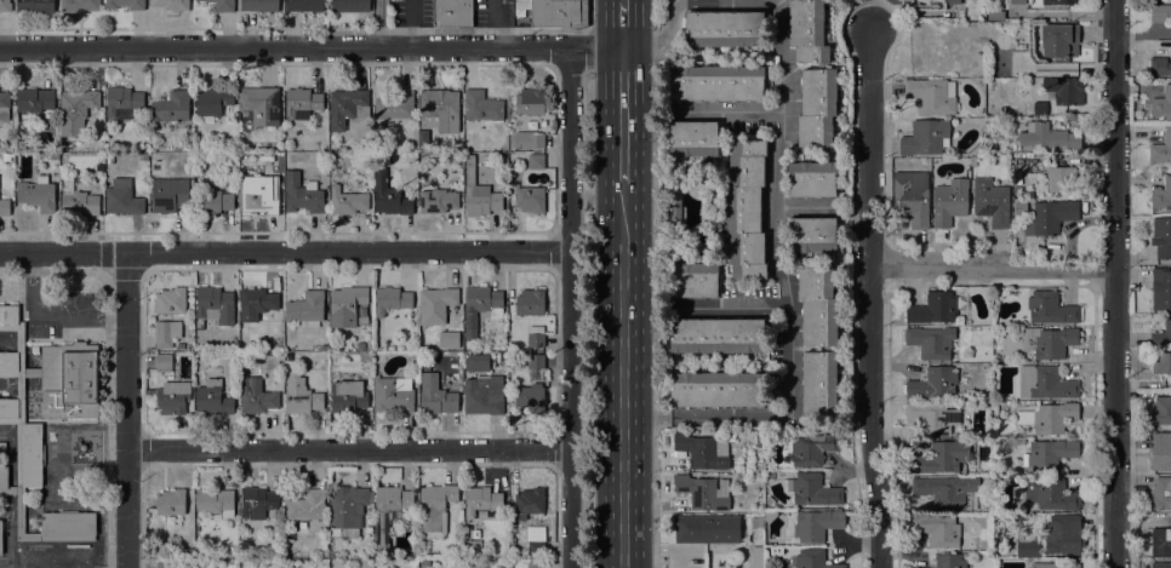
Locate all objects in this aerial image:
road: (622, 1)
building: (952, 1)
building: (1017, 1)
building: (1057, 1)
building: (125, 4)
building: (78, 5)
building: (172, 5)
building: (221, 5)
building: (259, 5)
building: (304, 5)
building: (350, 5)
building: (5, 6)
building: (35, 6)
building: (452, 12)
road: (919, 12)
building: (559, 13)
building: (1160, 13)
road: (872, 15)
building: (996, 16)
road: (378, 23)
road: (623, 25)
building: (895, 25)
road: (585, 27)
building: (724, 28)
building: (969, 29)
building: (807, 30)
building: (1059, 39)
building: (873, 46)
road: (312, 47)
building: (1160, 65)
building: (716, 82)
building: (1064, 91)
building: (932, 96)
building: (34, 99)
building: (530, 101)
building: (121, 102)
building: (212, 103)
building: (302, 103)
building: (1161, 103)
building: (261, 104)
building: (395, 104)
building: (76, 105)
building: (482, 105)
building: (4, 107)
building: (171, 107)
building: (347, 107)
building: (817, 108)
building: (1039, 108)
building: (439, 110)
building: (992, 110)
road: (622, 113)
road: (787, 124)
building: (1047, 136)
building: (925, 137)
building: (693, 138)
building: (526, 139)
building: (21, 144)
building: (69, 148)
building: (1160, 150)
building: (5, 156)
building: (55, 156)
building: (143, 156)
building: (109, 157)
building: (265, 159)
building: (388, 160)
building: (457, 160)
building: (536, 161)
building: (972, 161)
building: (1023, 161)
building: (99, 167)
building: (510, 171)
building: (812, 178)
building: (1017, 178)
building: (1061, 179)
building: (479, 193)
building: (38, 194)
building: (168, 194)
building: (302, 194)
building: (258, 195)
building: (389, 195)
building: (1161, 195)
building: (122, 197)
building: (910, 197)
building: (530, 199)
building: (347, 200)
building: (211, 201)
building: (438, 201)
building: (949, 201)
building: (990, 202)
building: (80, 203)
road: (800, 206)
building: (5, 207)
building: (674, 210)
building: (746, 210)
building: (1050, 217)
building: (812, 235)
building: (1161, 236)
road: (284, 252)
road: (993, 271)
building: (693, 280)
road: (1116, 283)
building: (1160, 288)
road: (869, 296)
building: (257, 299)
building: (392, 299)
building: (484, 299)
building: (170, 300)
building: (436, 303)
building: (530, 303)
building: (215, 304)
building: (347, 305)
building: (817, 305)
road: (733, 306)
road: (569, 308)
building: (936, 308)
building: (305, 309)
building: (1050, 309)
building: (8, 315)
building: (166, 333)
building: (718, 335)
building: (1161, 335)
building: (253, 337)
building: (535, 337)
building: (1138, 338)
building: (449, 339)
building: (1049, 342)
building: (930, 343)
building: (379, 344)
building: (181, 346)
building: (360, 346)
building: (324, 348)
building: (8, 361)
building: (536, 361)
building: (164, 362)
building: (1163, 363)
road: (108, 366)
building: (424, 371)
road: (622, 373)
building: (69, 380)
building: (819, 383)
building: (933, 383)
building: (1043, 383)
building: (324, 386)
building: (481, 386)
building: (715, 389)
building: (393, 394)
building: (170, 396)
building: (256, 396)
building: (301, 396)
building: (348, 396)
building: (530, 397)
building: (212, 398)
building: (436, 398)
building: (8, 408)
road: (127, 409)
building: (1161, 411)
road: (698, 417)
building: (931, 417)
building: (1049, 418)
building: (2, 448)
building: (812, 448)
road: (348, 449)
building: (703, 451)
building: (19, 454)
building: (32, 454)
building: (1049, 454)
building: (941, 457)
building: (1161, 459)
building: (4, 477)
building: (811, 489)
building: (703, 492)
building: (947, 492)
building: (1050, 493)
building: (1161, 493)
building: (481, 500)
building: (530, 500)
building: (215, 501)
building: (257, 501)
building: (171, 503)
building: (390, 506)
building: (307, 509)
building: (434, 510)
building: (347, 511)
building: (769, 515)
building: (999, 517)
building: (67, 523)
building: (816, 524)
building: (998, 524)
building: (707, 528)
building: (938, 529)
building: (0, 537)
building: (510, 540)
building: (535, 540)
building: (1061, 540)
building: (1161, 543)
building: (472, 546)
building: (1027, 546)
building: (164, 547)
building: (729, 550)
building: (392, 553)
building: (756, 555)
building: (812, 560)
building: (949, 561)
building: (425, 562)
building: (164, 564)
building: (536, 564)
building: (1053, 564)
building: (1161, 564)
building: (915, 567)

